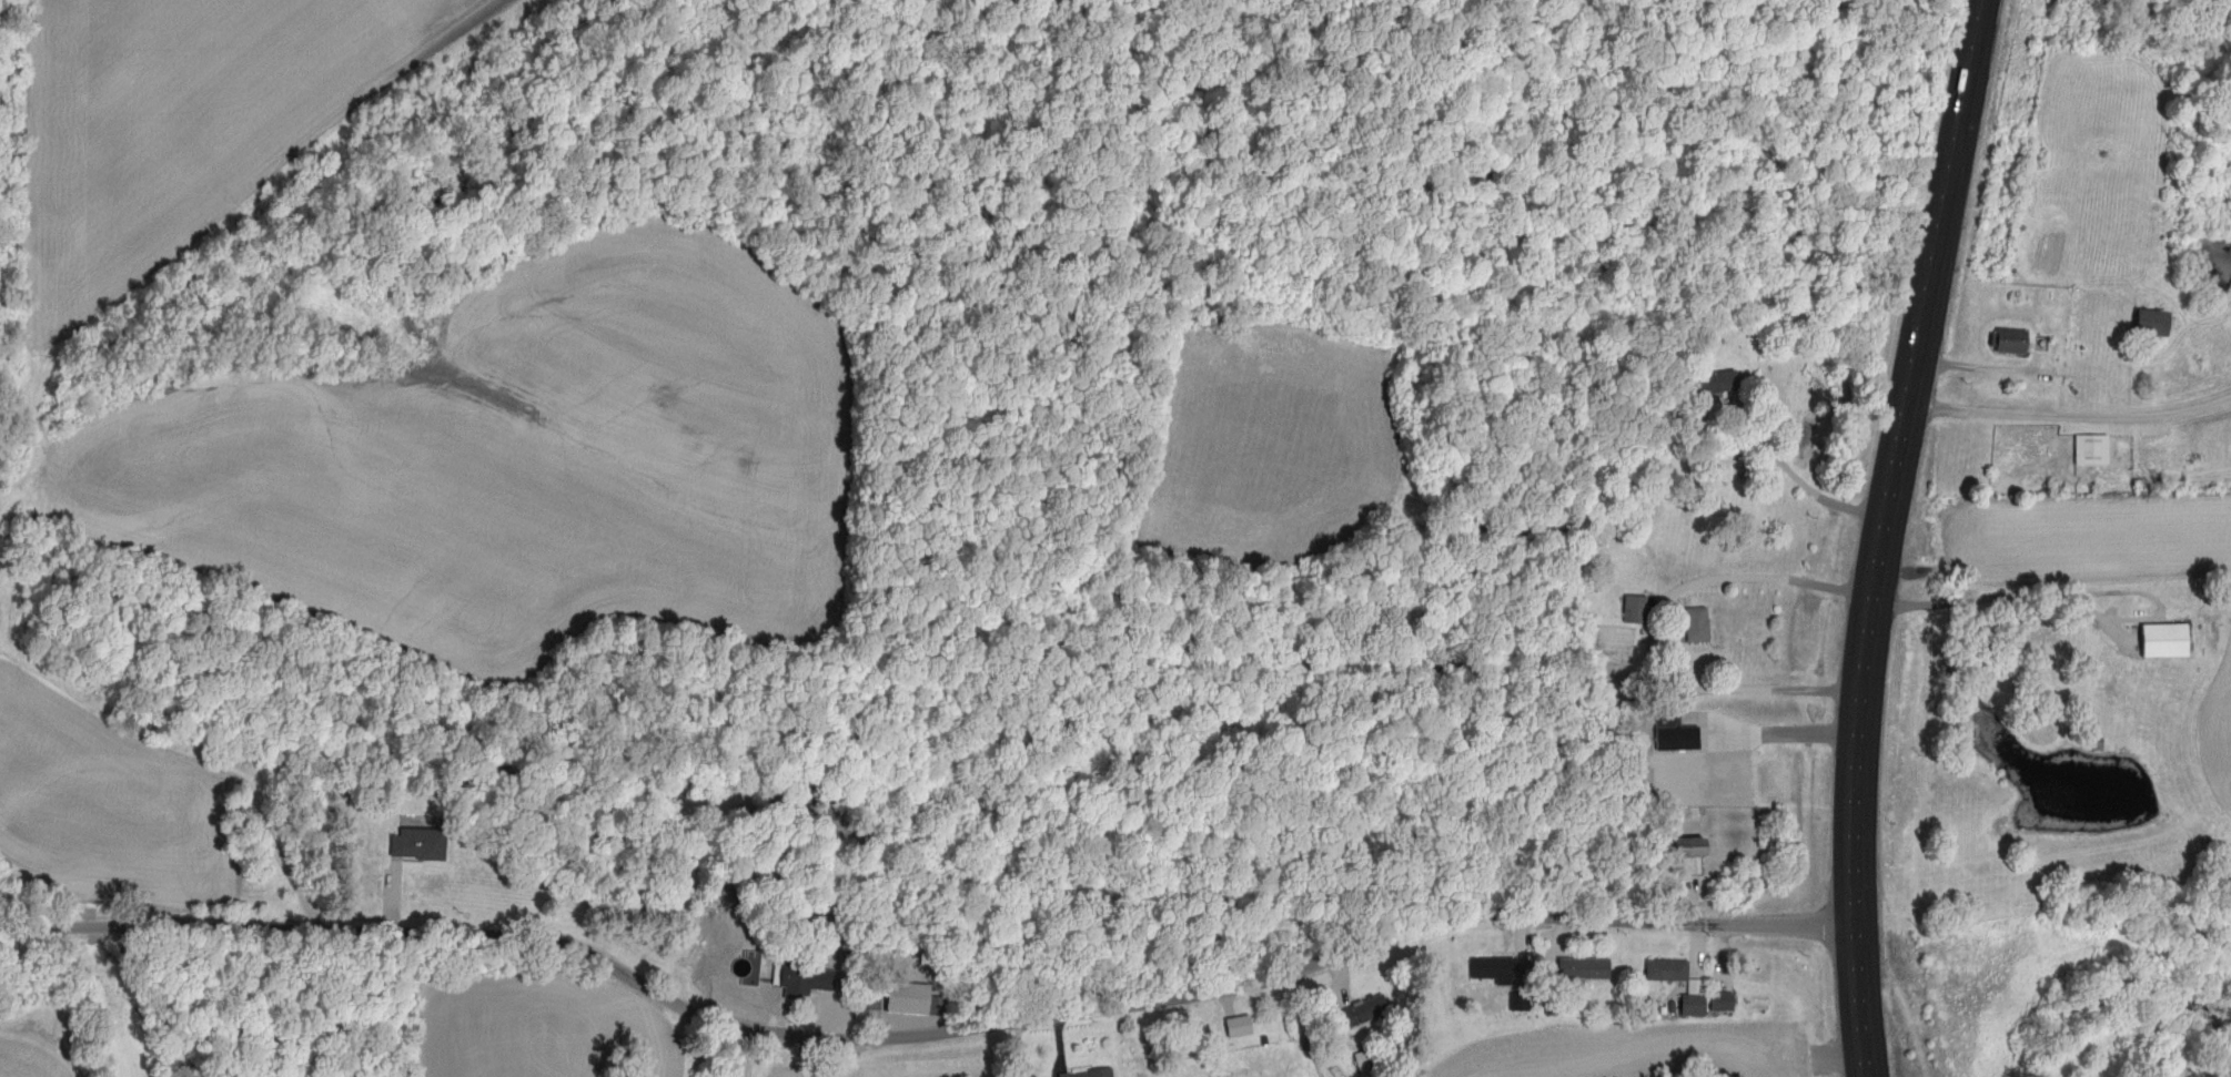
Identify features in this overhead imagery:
building: (2153, 323)
building: (2011, 342)
road: (2069, 420)
building: (2094, 449)
road: (1817, 494)
road: (1884, 535)
road: (1767, 578)
road: (2003, 596)
building: (1637, 609)
building: (1699, 626)
building: (2167, 640)
building: (1679, 739)
building: (420, 844)
building: (1690, 849)
building: (1585, 968)
building: (1495, 969)
building: (1668, 971)
building: (915, 999)
building: (1696, 1000)
building: (1724, 1002)
building: (1364, 1012)
building: (1240, 1027)
road: (927, 1034)

